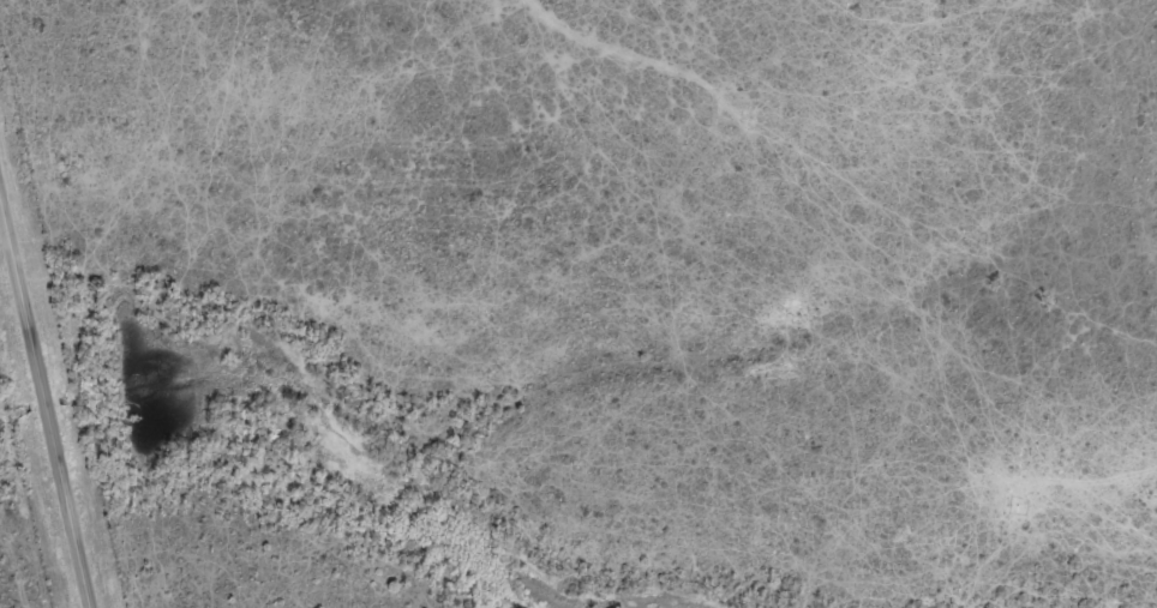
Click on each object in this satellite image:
road: (42, 416)

